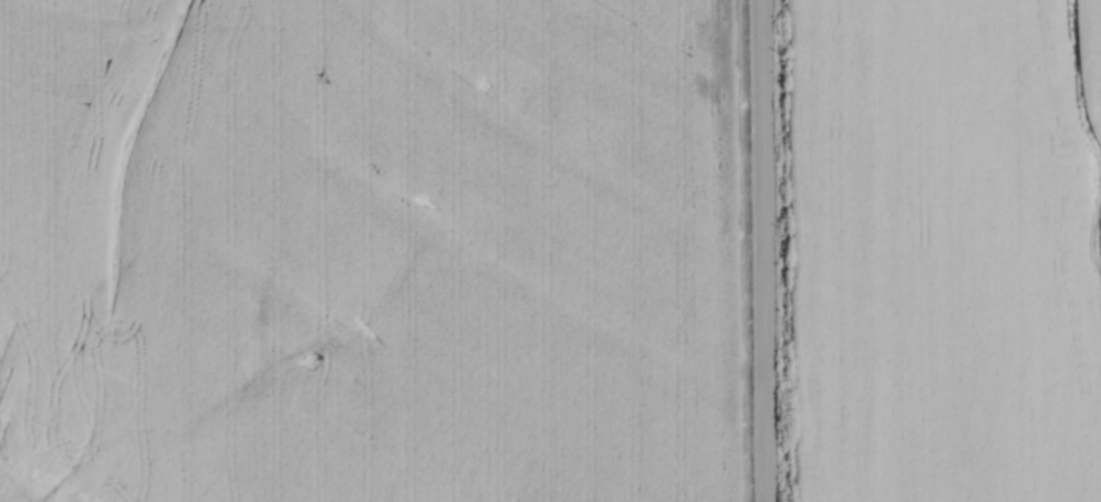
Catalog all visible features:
crop: (947, 250)
road: (762, 251)

